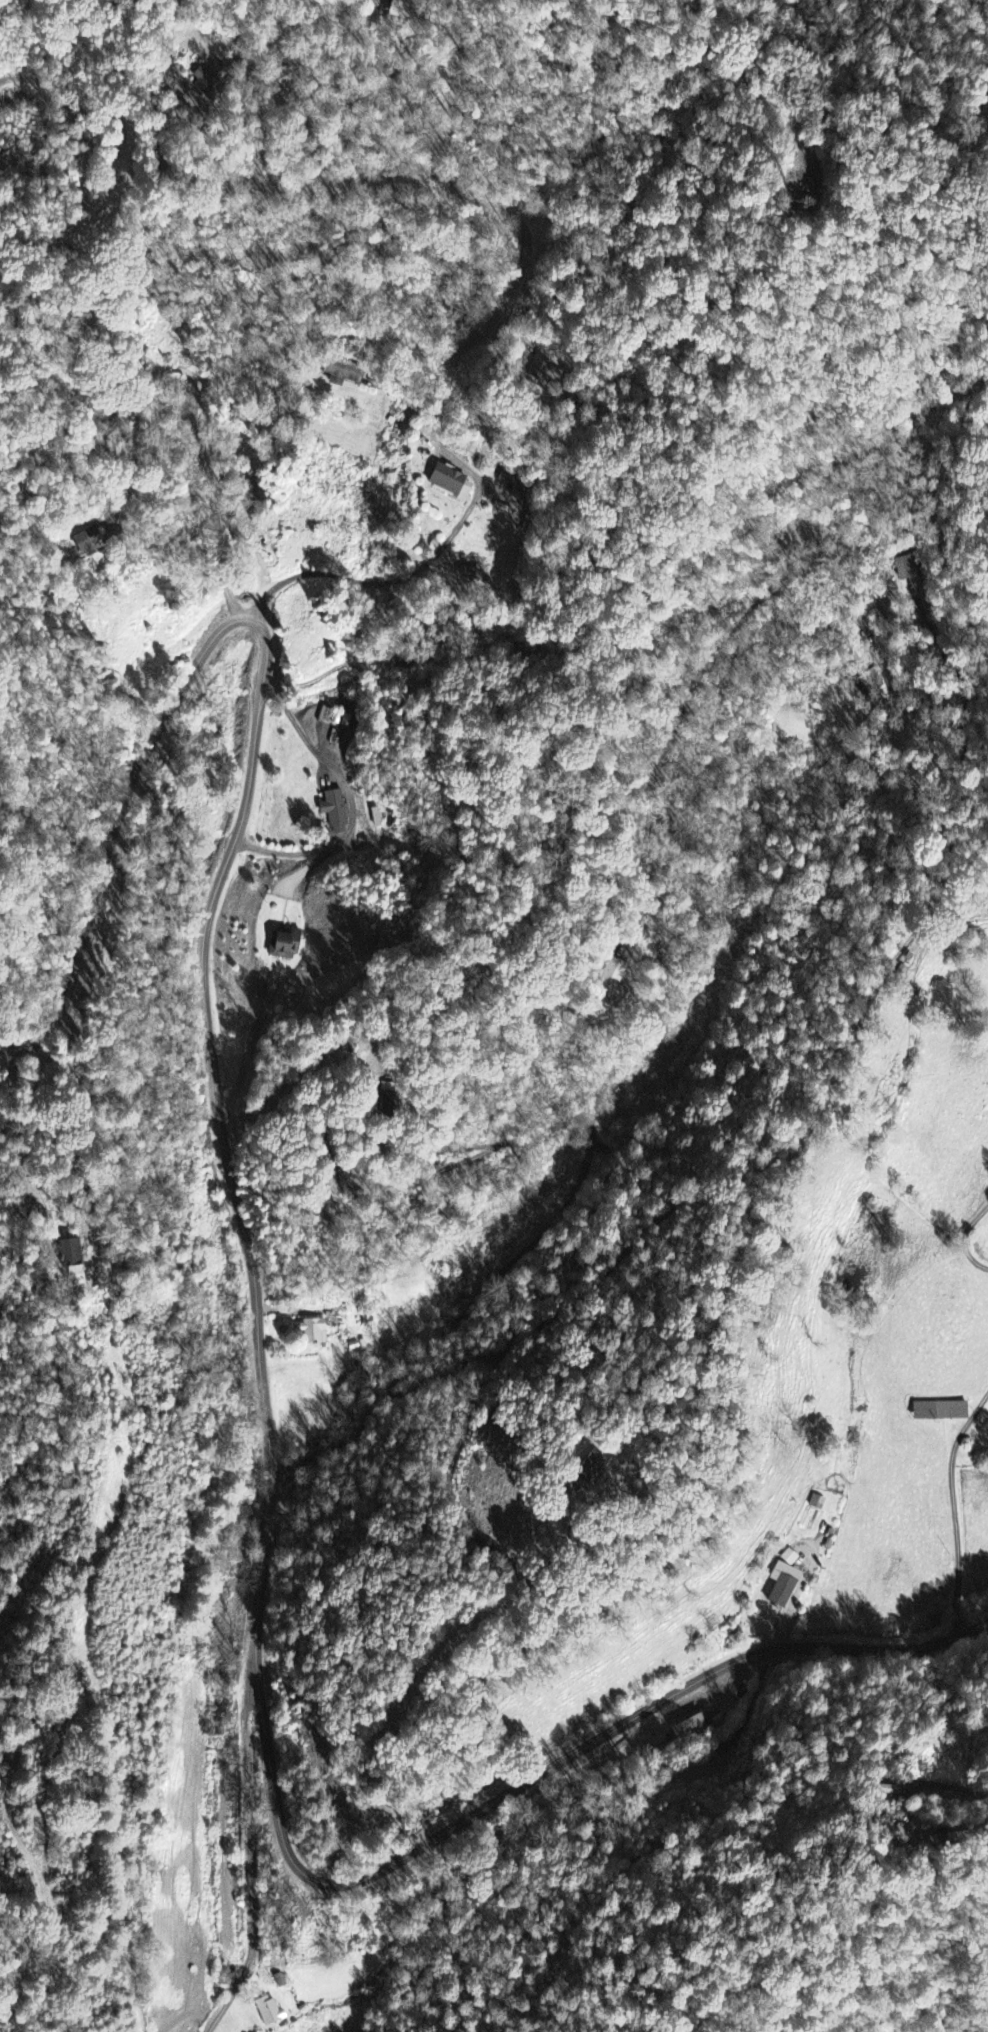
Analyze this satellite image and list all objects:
building: (402, 9)
building: (212, 80)
road: (84, 179)
road: (433, 358)
building: (542, 373)
building: (343, 375)
building: (446, 483)
building: (86, 541)
building: (904, 569)
building: (334, 718)
building: (333, 811)
road: (113, 820)
building: (283, 945)
building: (611, 980)
road: (8, 1048)
road: (697, 1197)
road: (27, 1199)
road: (964, 1236)
building: (70, 1258)
building: (310, 1333)
building: (937, 1412)
road: (568, 1461)
building: (573, 1468)
road: (953, 1510)
building: (789, 1558)
building: (781, 1585)
road: (260, 1616)
building: (693, 1728)
road: (251, 1850)
building: (277, 1981)
building: (266, 2012)

